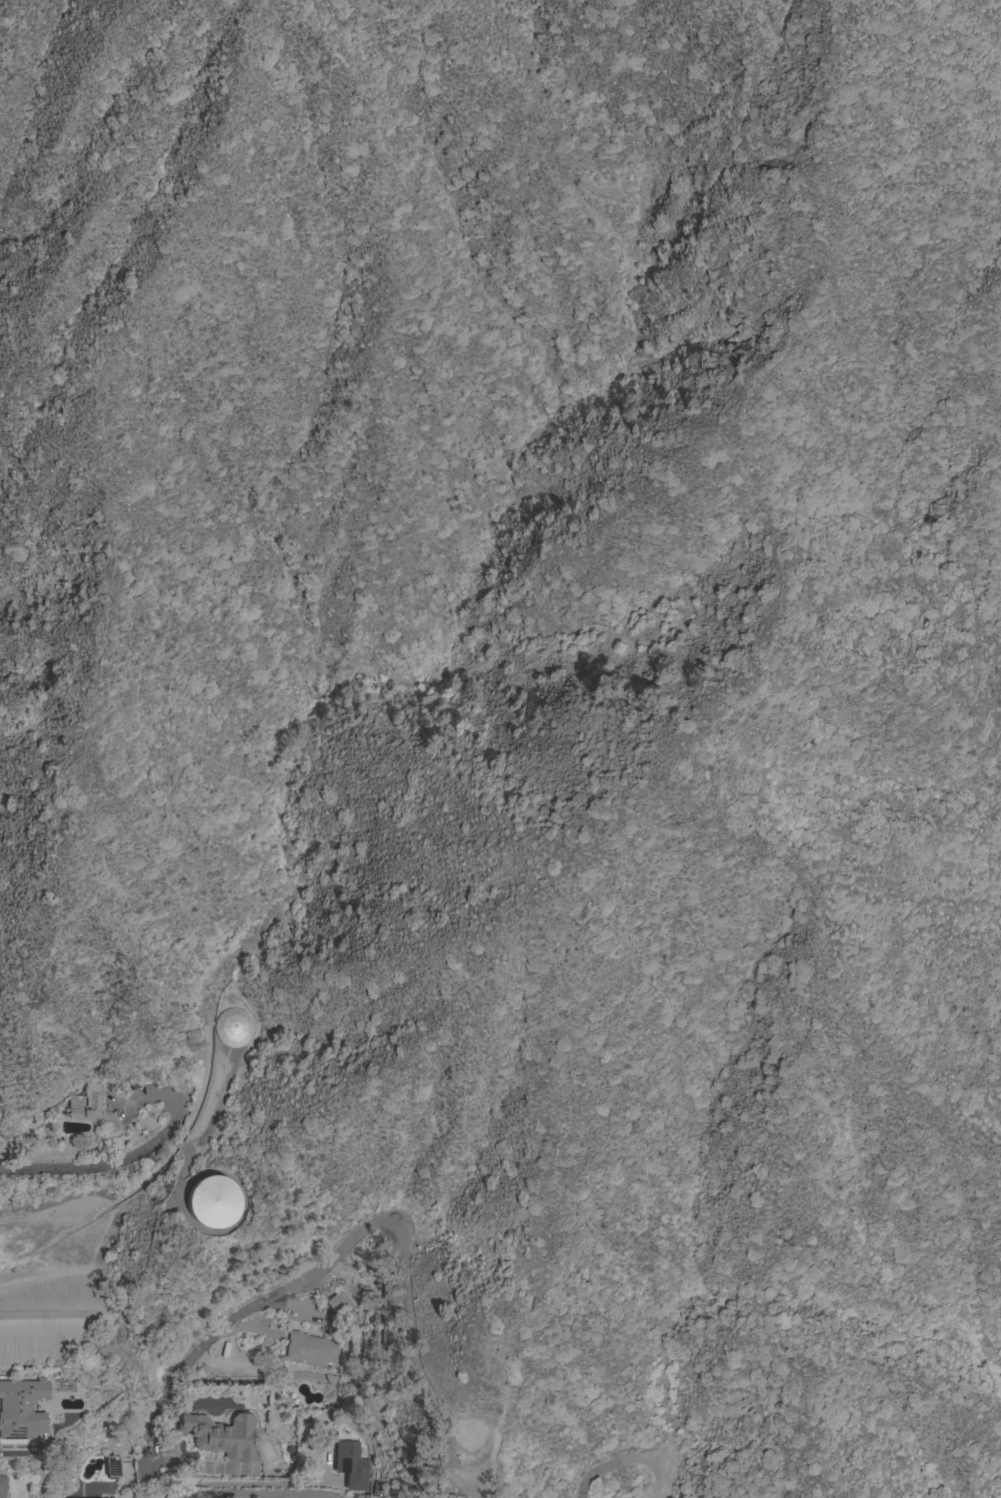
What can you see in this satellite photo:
building: (234, 1028)
building: (156, 1090)
building: (85, 1105)
road: (142, 1150)
road: (40, 1169)
building: (214, 1203)
storage tank: (214, 1203)
road: (315, 1270)
building: (341, 1305)
building: (311, 1349)
building: (27, 1405)
building: (222, 1436)
building: (113, 1466)
building: (352, 1466)
building: (2, 1486)
building: (378, 1490)
road: (242, 1495)

